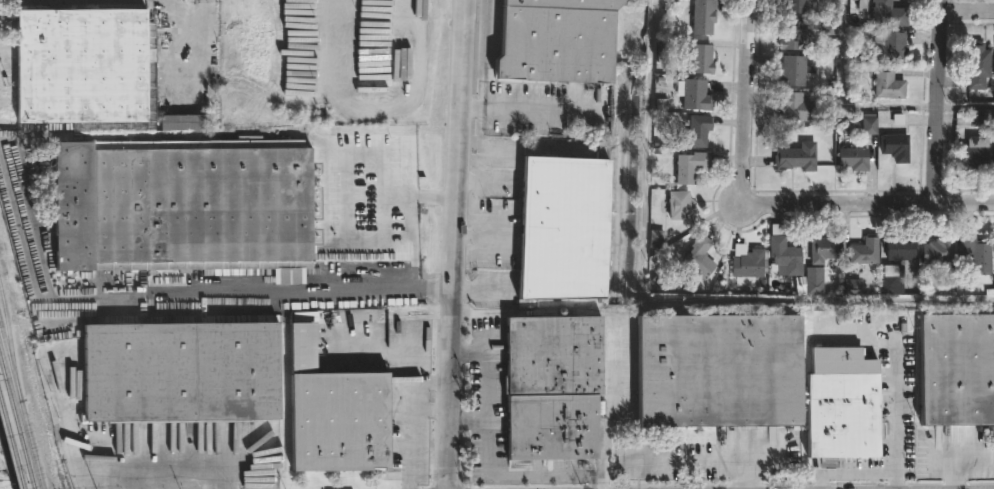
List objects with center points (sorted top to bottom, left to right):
road: (205, 2)
building: (794, 6)
road: (968, 11)
building: (888, 15)
building: (703, 16)
road: (184, 30)
building: (794, 35)
building: (556, 42)
building: (889, 48)
building: (701, 60)
building: (977, 66)
building: (84, 71)
building: (791, 72)
building: (887, 85)
road: (747, 93)
building: (694, 95)
road: (845, 100)
road: (938, 101)
road: (966, 106)
building: (793, 107)
road: (527, 110)
building: (971, 119)
building: (899, 121)
building: (181, 123)
building: (869, 127)
building: (695, 132)
building: (895, 148)
building: (976, 153)
road: (485, 157)
building: (795, 158)
building: (853, 159)
road: (388, 160)
building: (690, 166)
road: (487, 183)
road: (426, 199)
road: (864, 204)
building: (682, 206)
building: (182, 208)
road: (345, 225)
building: (562, 228)
road: (484, 239)
building: (655, 239)
road: (454, 244)
building: (823, 248)
building: (900, 248)
building: (864, 250)
building: (938, 250)
building: (784, 253)
building: (976, 253)
building: (699, 256)
building: (749, 264)
building: (890, 280)
road: (483, 290)
road: (275, 291)
road: (665, 303)
building: (954, 369)
building: (710, 372)
building: (236, 384)
building: (557, 388)
building: (843, 403)
railway: (21, 406)
road: (434, 408)
road: (613, 410)
road: (897, 420)
road: (415, 423)
road: (473, 423)
railway: (15, 424)
railway: (11, 444)
road: (495, 452)
road: (957, 455)
road: (698, 461)
road: (4, 471)
road: (860, 474)

